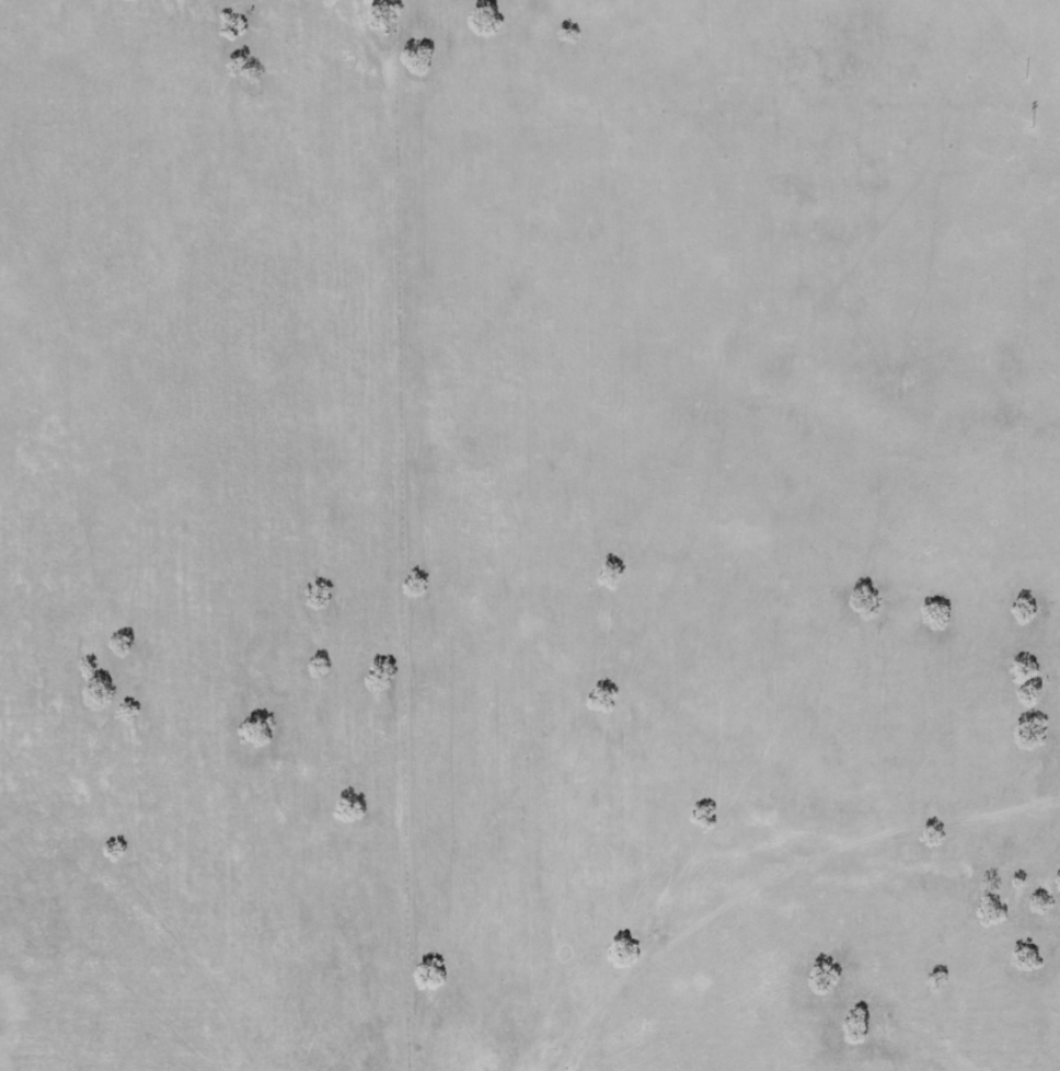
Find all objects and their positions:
power tower: (1032, 127)

